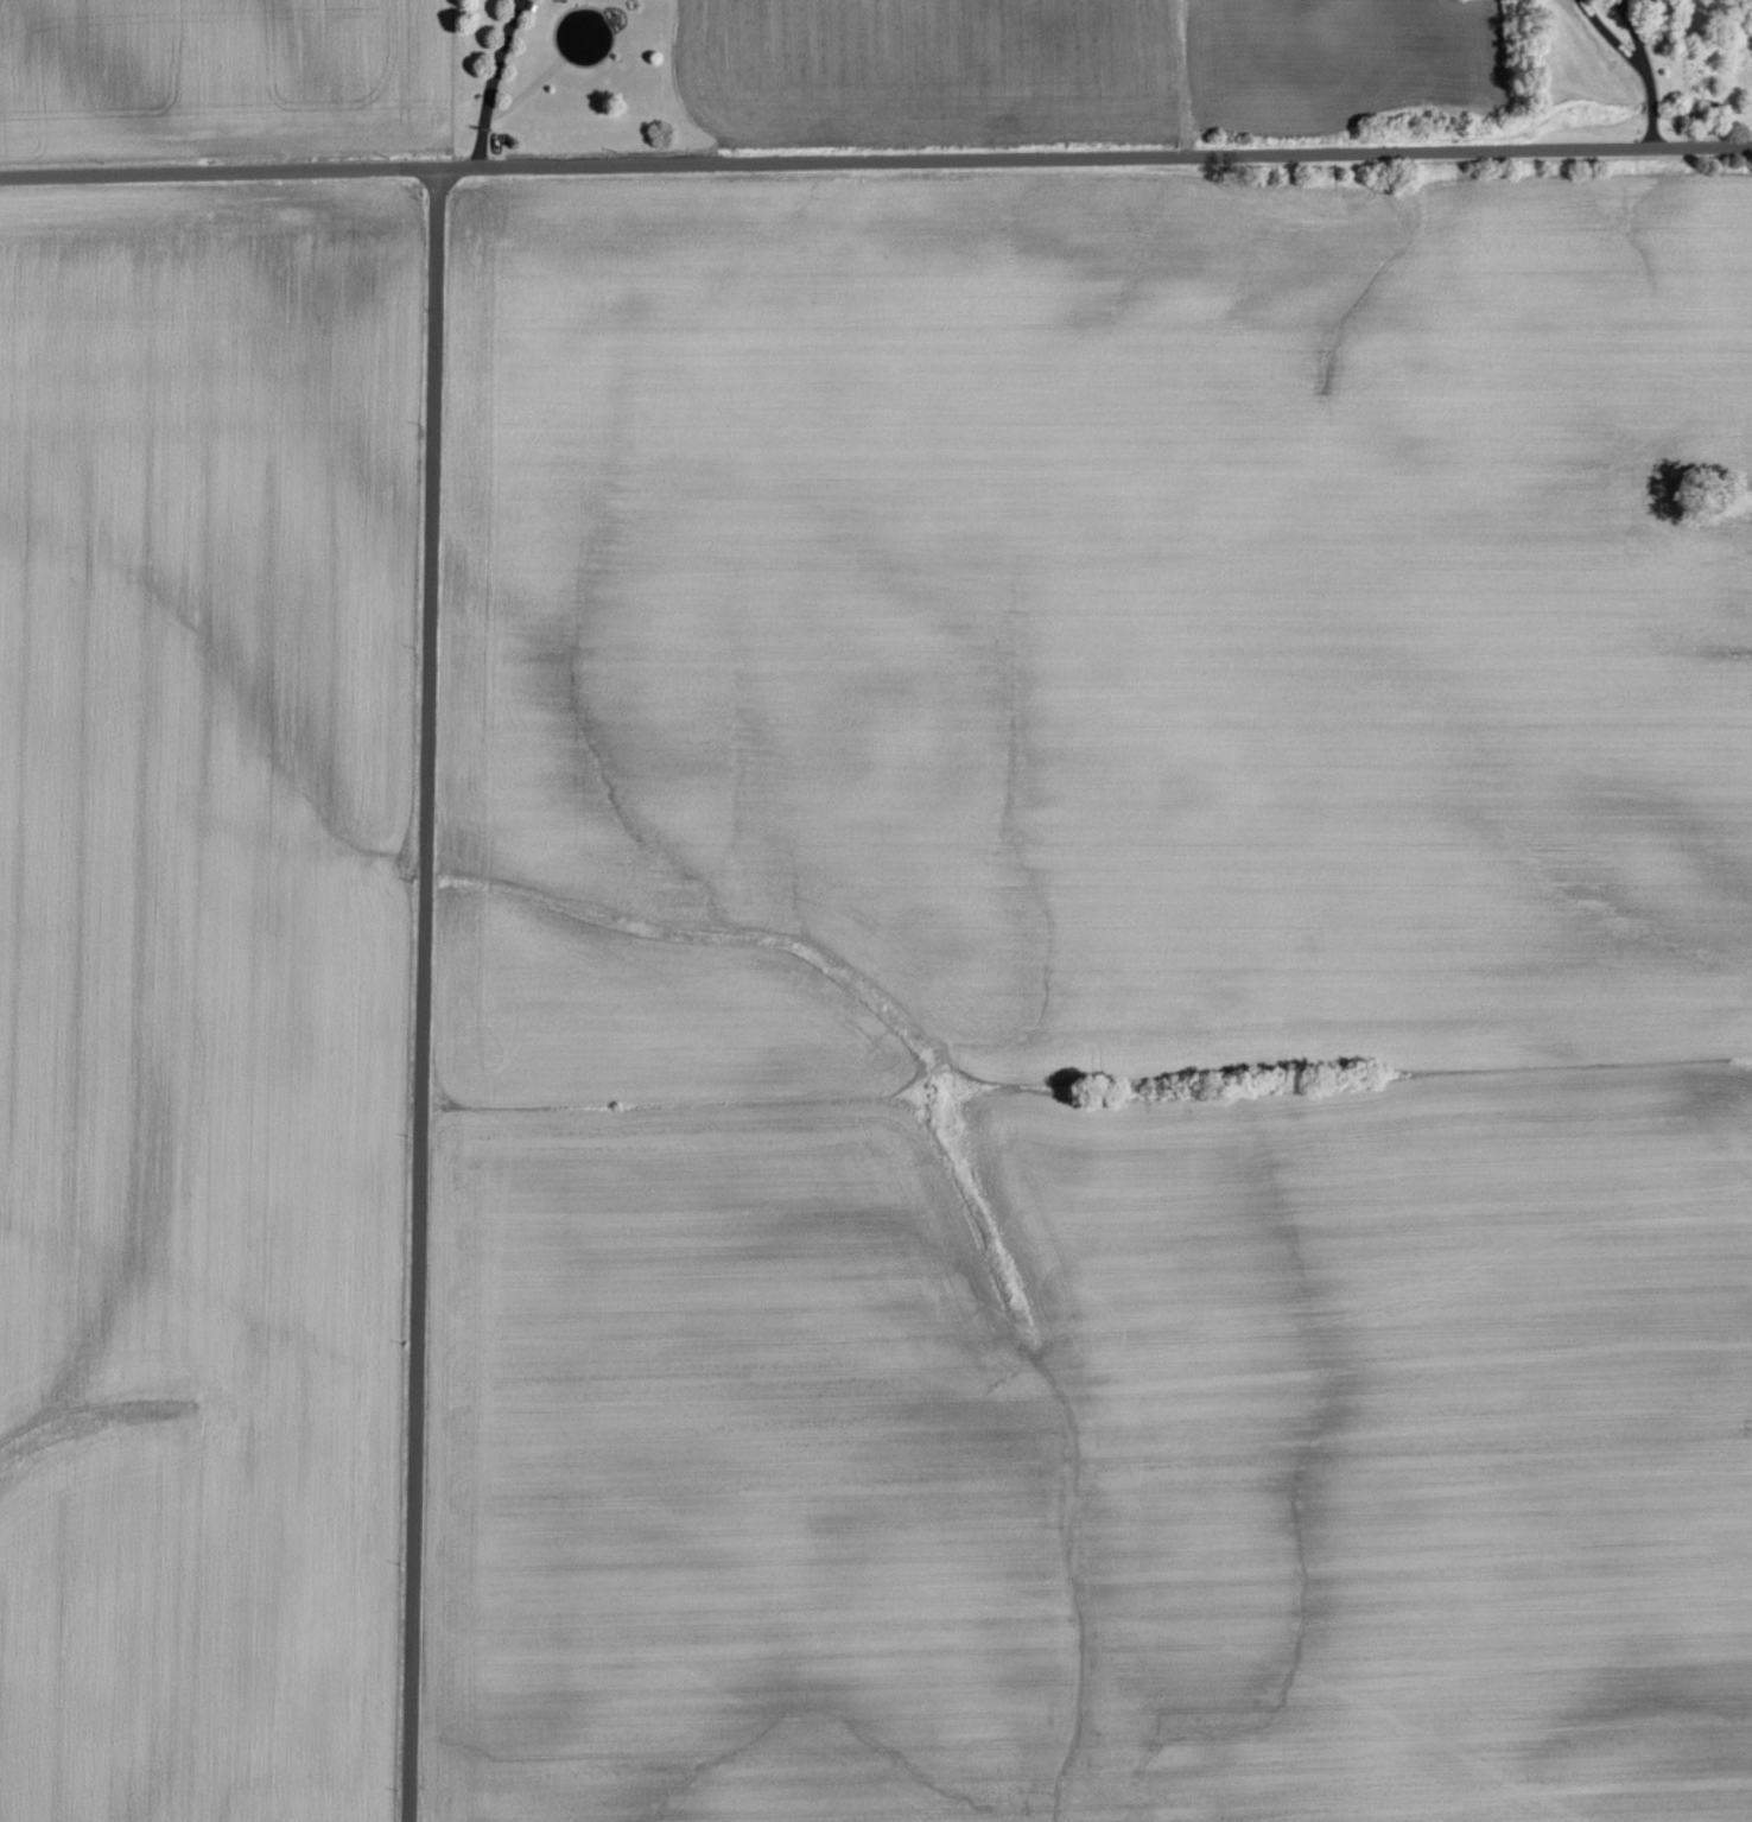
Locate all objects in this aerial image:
road: (1649, 69)
road: (496, 80)
road: (875, 157)
road: (423, 992)

